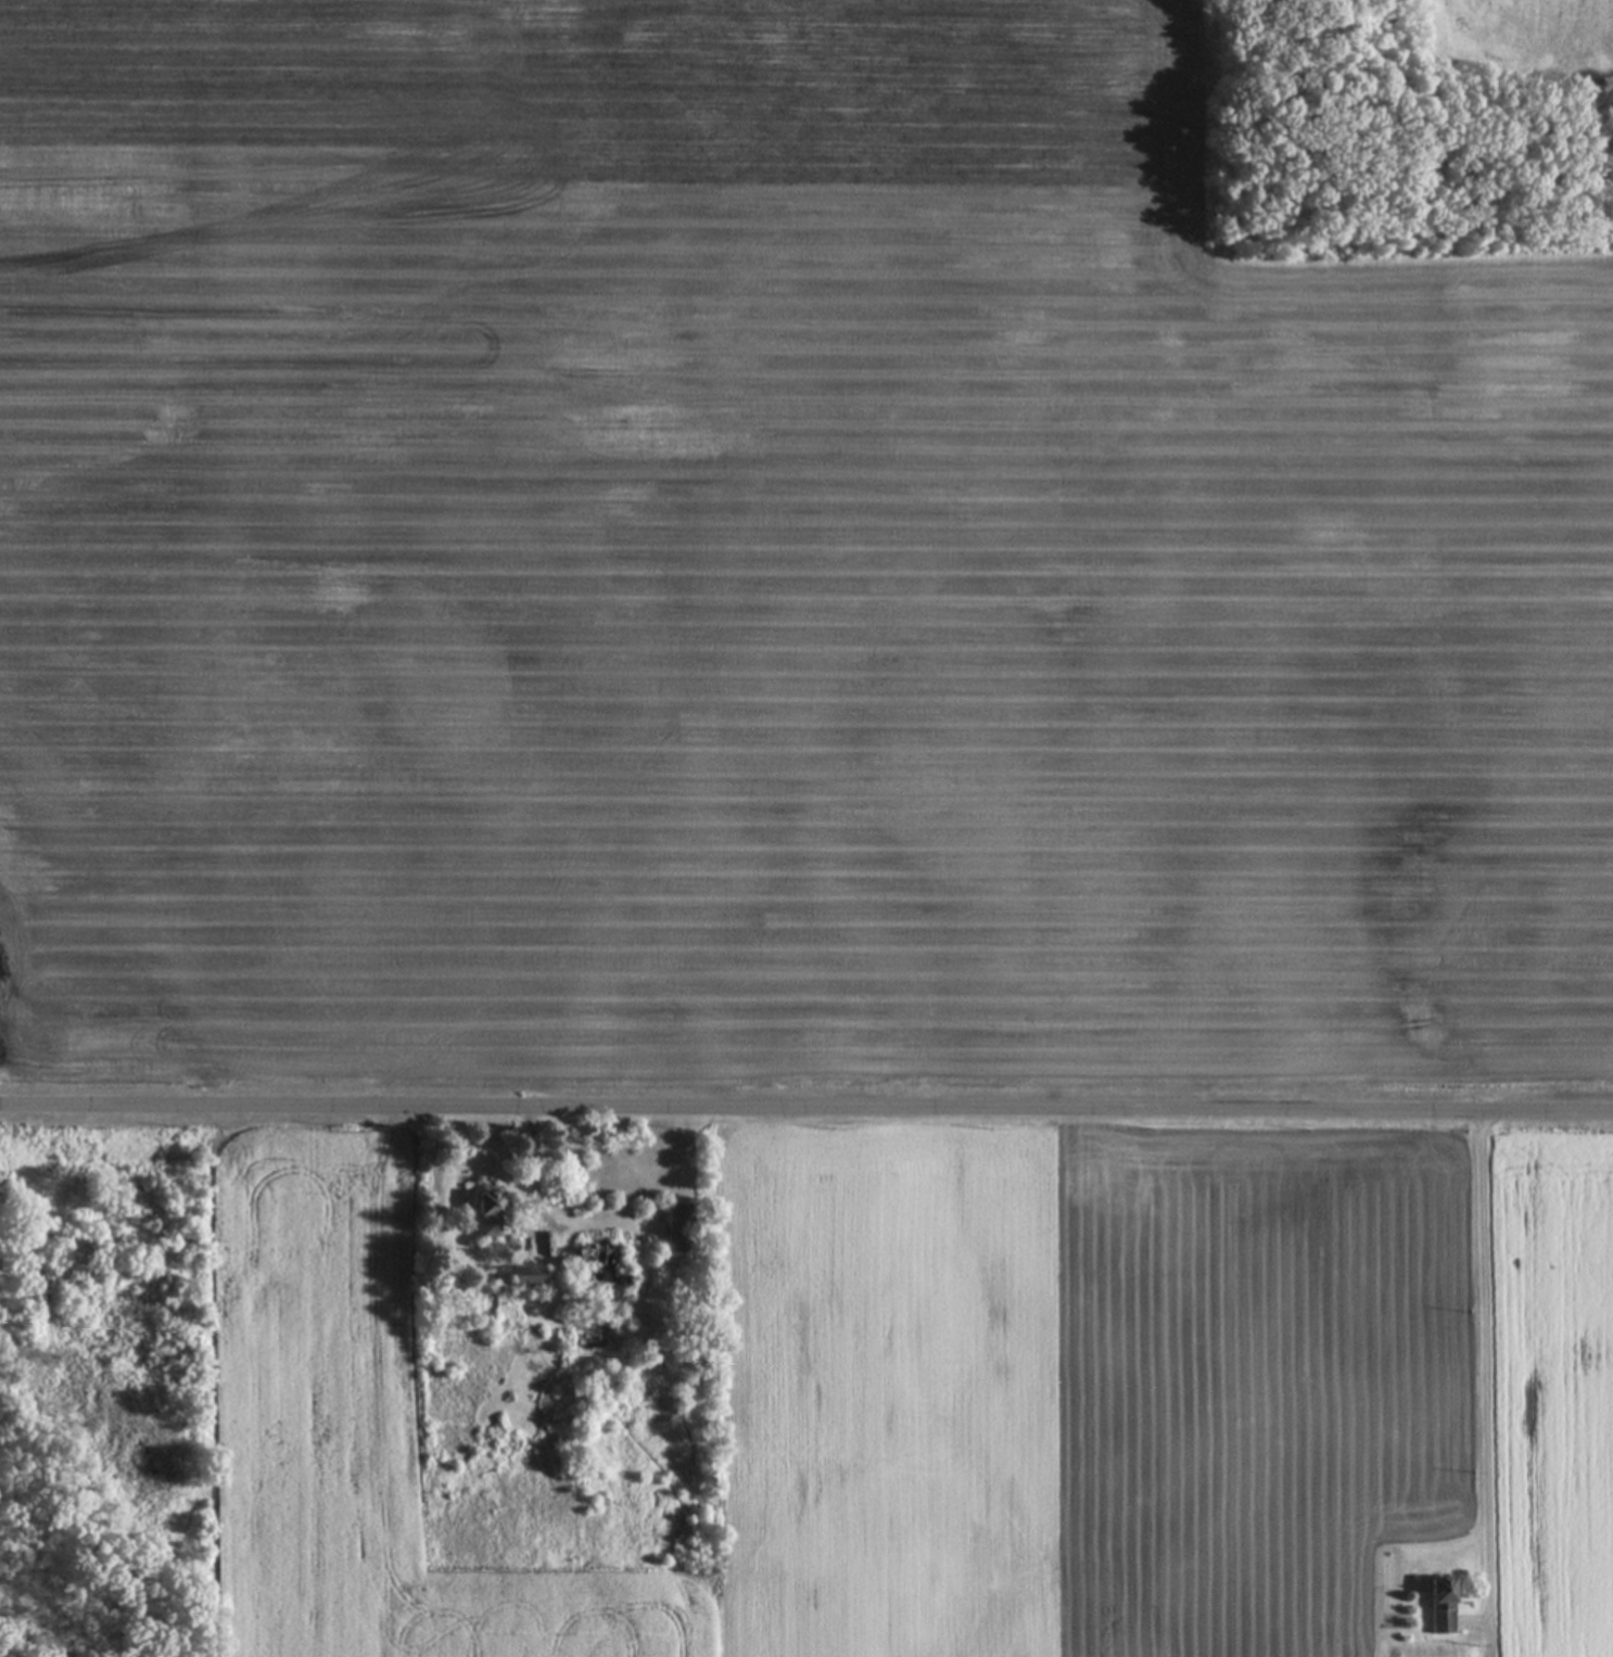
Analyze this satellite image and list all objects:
road: (806, 1114)
building: (490, 1213)
building: (682, 1232)
building: (601, 1264)
building: (530, 1277)
road: (1482, 1365)
building: (1443, 1606)

